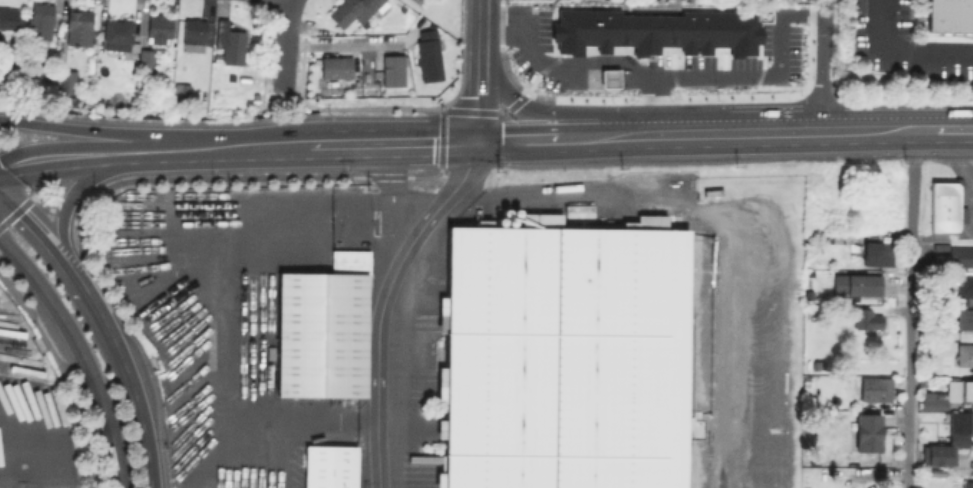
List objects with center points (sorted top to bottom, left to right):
building: (351, 14)
building: (8, 18)
building: (948, 18)
building: (40, 25)
building: (79, 27)
building: (158, 29)
building: (193, 31)
building: (655, 31)
building: (119, 35)
road: (482, 35)
building: (229, 44)
road: (284, 45)
road: (374, 48)
road: (903, 51)
building: (146, 58)
road: (822, 60)
road: (587, 61)
building: (336, 67)
building: (393, 70)
building: (32, 71)
building: (48, 75)
road: (768, 75)
building: (227, 77)
building: (608, 78)
building: (65, 82)
building: (181, 90)
building: (221, 92)
road: (290, 93)
building: (63, 99)
building: (87, 101)
road: (480, 108)
road: (358, 112)
road: (549, 115)
road: (896, 118)
road: (738, 120)
road: (644, 122)
road: (552, 130)
road: (86, 133)
road: (954, 143)
traffic signals: (475, 144)
road: (425, 145)
road: (339, 146)
road: (703, 147)
road: (236, 148)
road: (144, 150)
road: (56, 158)
road: (392, 195)
road: (547, 195)
road: (445, 197)
building: (944, 206)
road: (62, 214)
building: (940, 245)
road: (45, 246)
building: (875, 250)
building: (955, 256)
building: (856, 282)
building: (965, 284)
road: (909, 305)
road: (225, 314)
building: (866, 317)
building: (965, 318)
building: (324, 336)
road: (82, 352)
building: (965, 353)
building: (564, 360)
railway: (684, 361)
road: (376, 363)
building: (922, 380)
building: (805, 383)
road: (132, 386)
building: (876, 387)
building: (947, 393)
building: (868, 429)
building: (949, 437)
building: (331, 467)
road: (907, 478)
building: (967, 483)
building: (807, 487)

